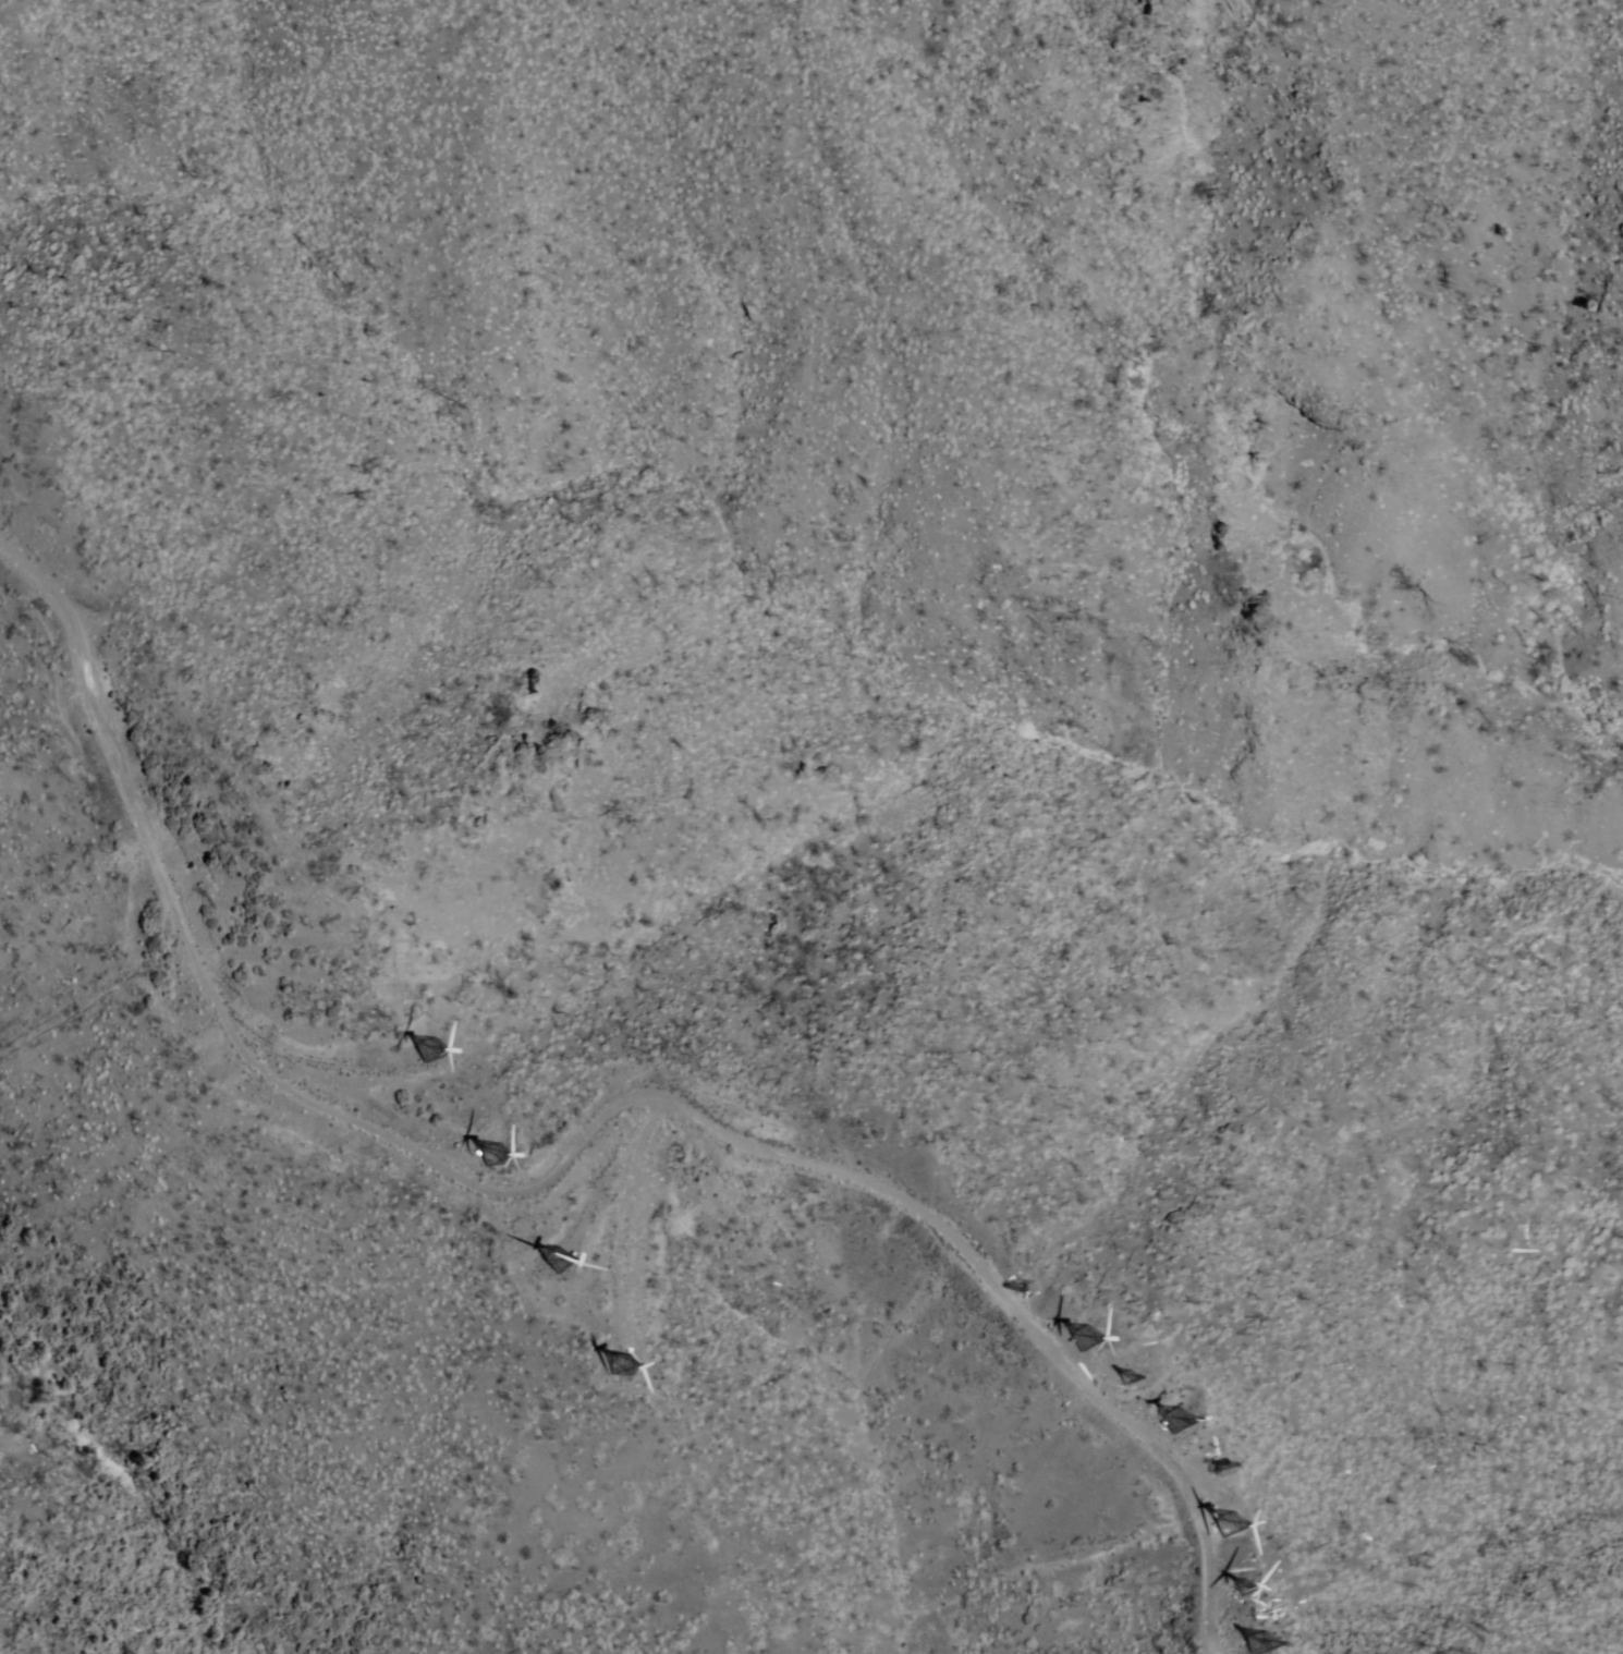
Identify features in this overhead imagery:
wind turbine: (427, 1046)
wind turbine: (491, 1153)
road: (497, 1183)
road: (634, 1187)
wind turbine: (559, 1255)
wind turbine: (1026, 1287)
wind turbine: (1082, 1336)
wind turbine: (613, 1364)
wind turbine: (1132, 1378)
wind turbine: (1171, 1419)
wind turbine: (1207, 1466)
wind turbine: (1224, 1527)
road: (1208, 1564)
wind turbine: (1241, 1602)
wind turbine: (1253, 1642)

